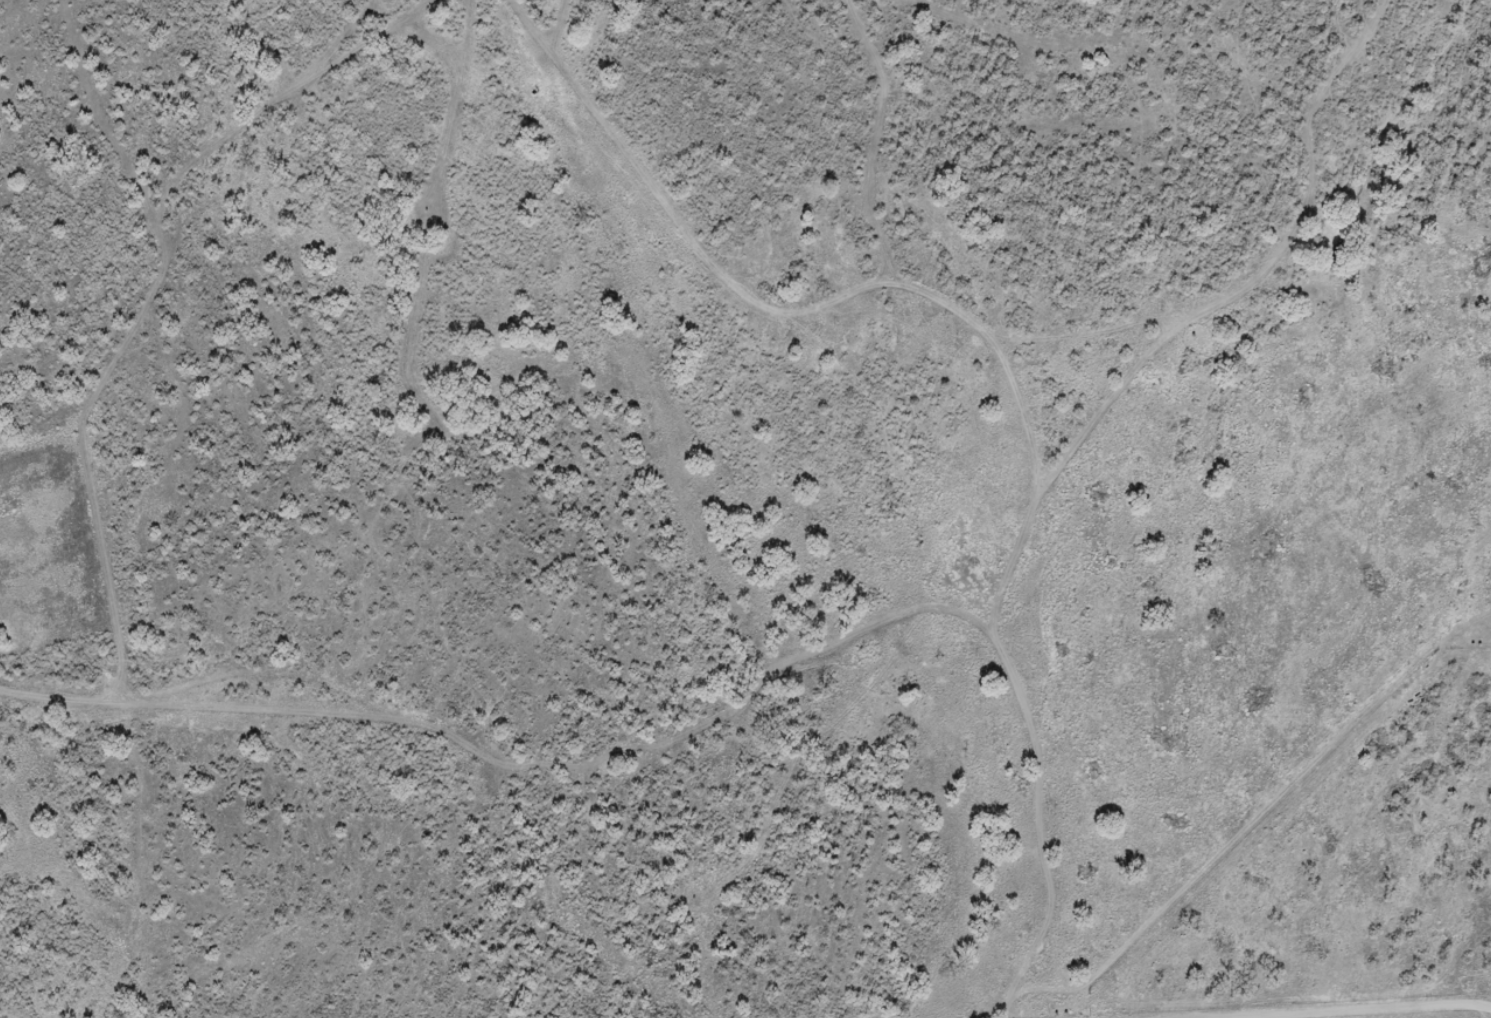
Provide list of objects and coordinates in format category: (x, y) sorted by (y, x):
road: (191, 244)
road: (1101, 462)

